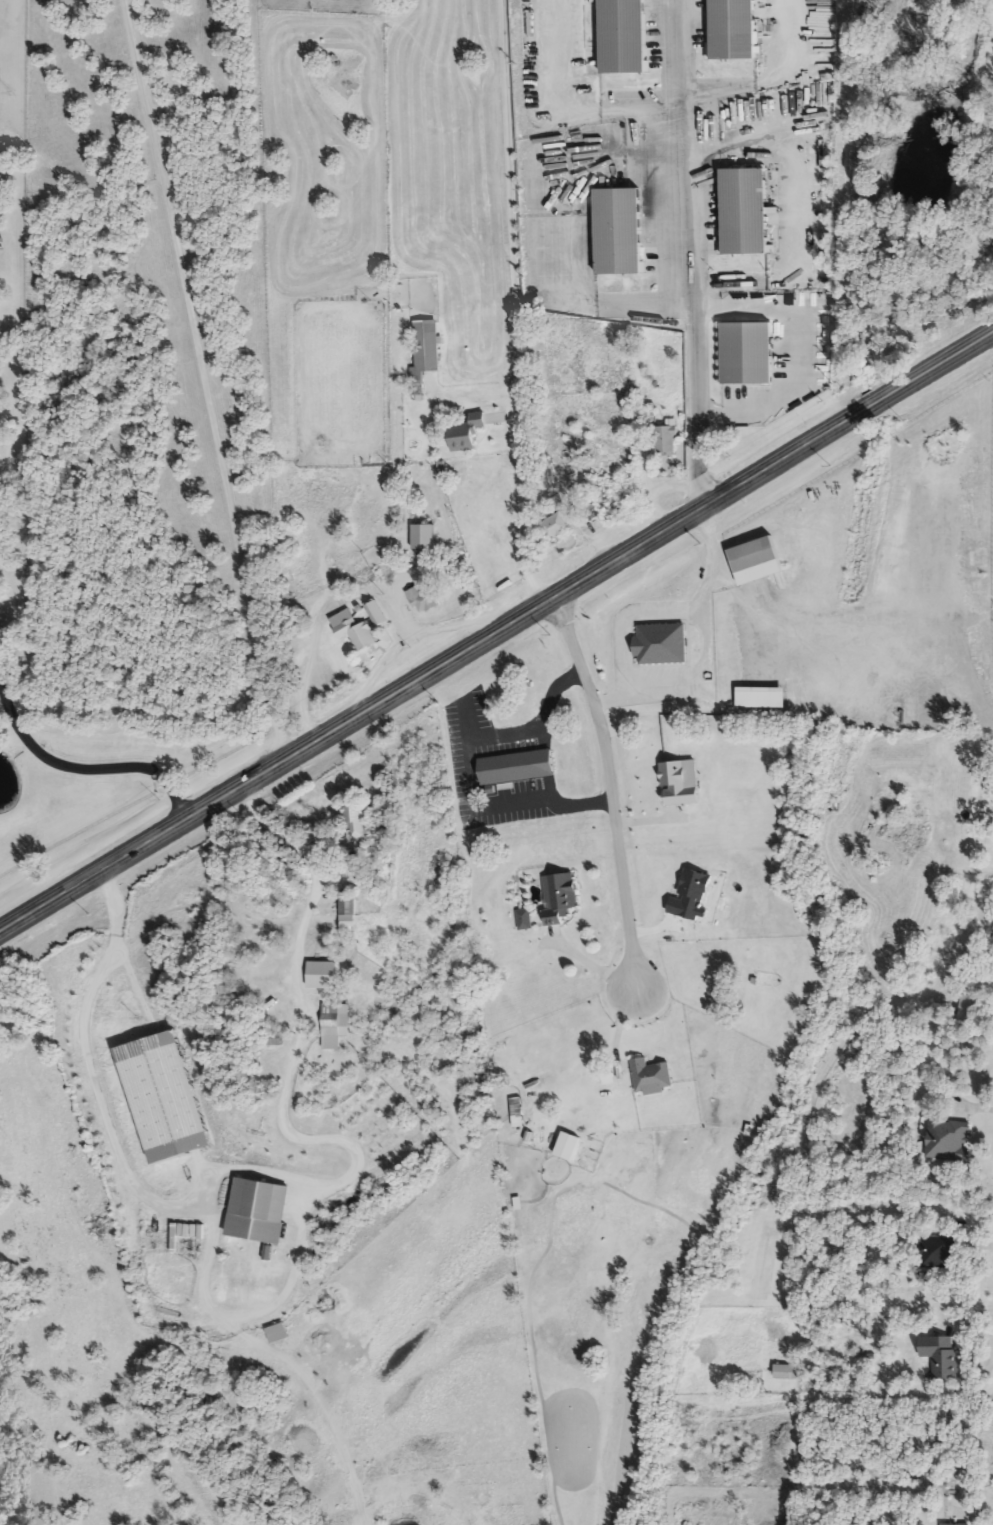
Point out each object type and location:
building: (736, 30)
building: (625, 37)
building: (347, 78)
building: (748, 213)
building: (621, 232)
road: (692, 254)
road: (517, 306)
building: (427, 347)
building: (750, 355)
road: (796, 356)
road: (203, 382)
building: (468, 433)
building: (667, 442)
road: (722, 499)
building: (589, 511)
building: (562, 525)
building: (424, 538)
building: (756, 556)
building: (424, 601)
road: (660, 612)
building: (378, 616)
building: (356, 632)
building: (661, 644)
road: (693, 673)
road: (538, 725)
building: (519, 769)
road: (88, 772)
building: (678, 785)
road: (610, 788)
road: (225, 799)
road: (493, 806)
building: (356, 821)
building: (560, 898)
building: (350, 908)
building: (525, 920)
building: (333, 1021)
road: (87, 1047)
building: (650, 1077)
road: (287, 1092)
building: (166, 1098)
building: (571, 1148)
building: (259, 1211)
building: (937, 1253)
building: (942, 1356)

